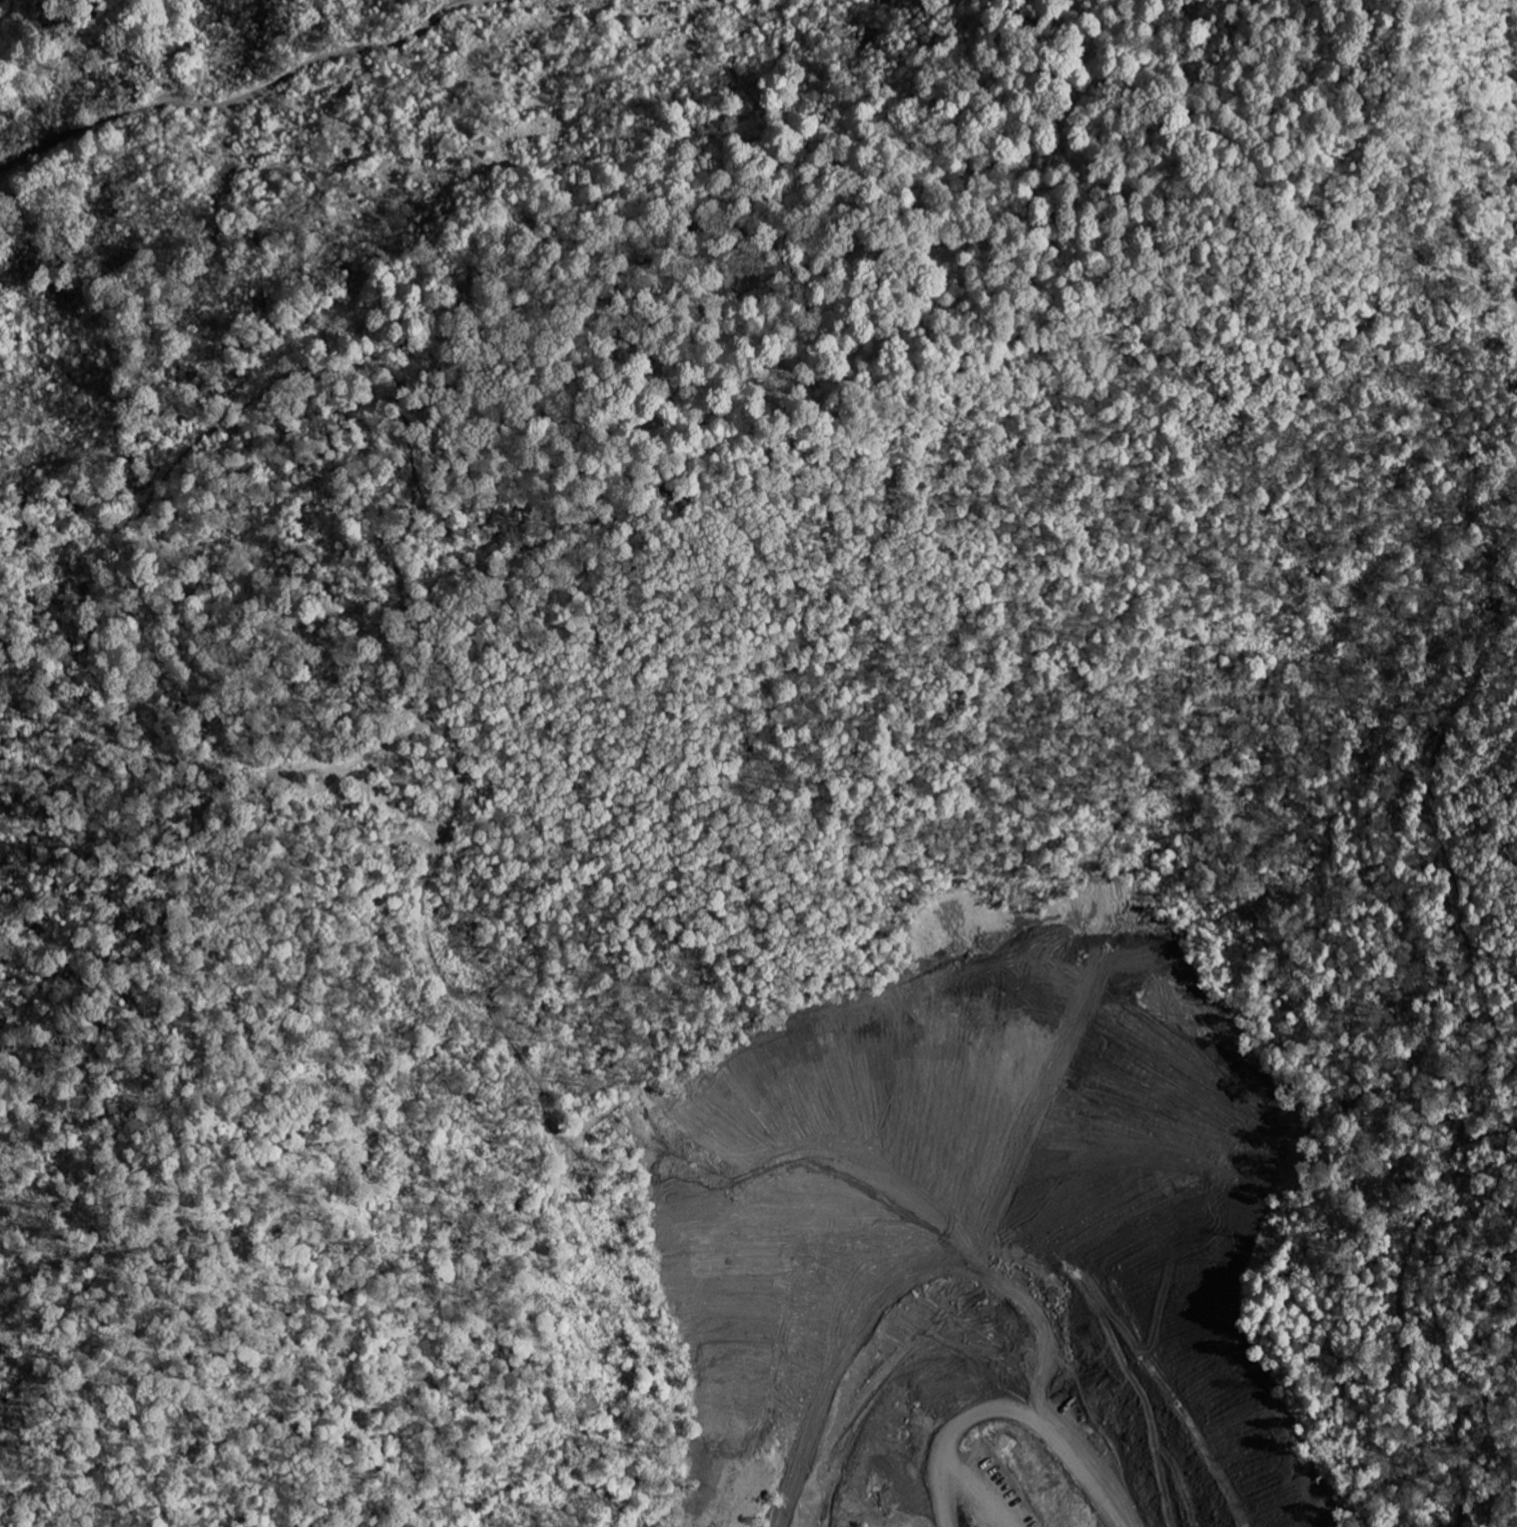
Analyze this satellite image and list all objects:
road: (1117, 1199)

